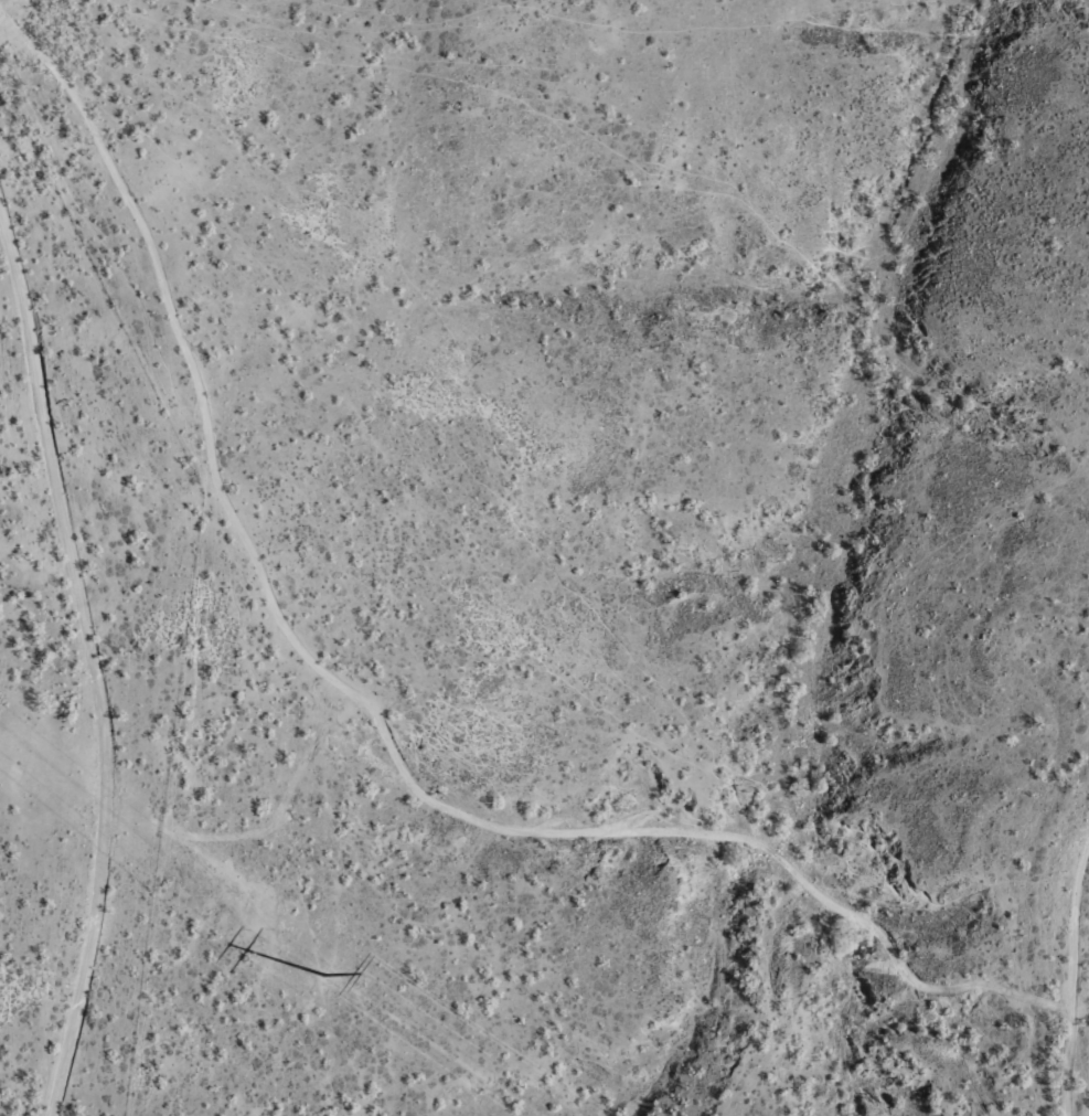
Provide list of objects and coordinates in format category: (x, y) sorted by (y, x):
road: (93, 655)
power tower: (325, 974)

